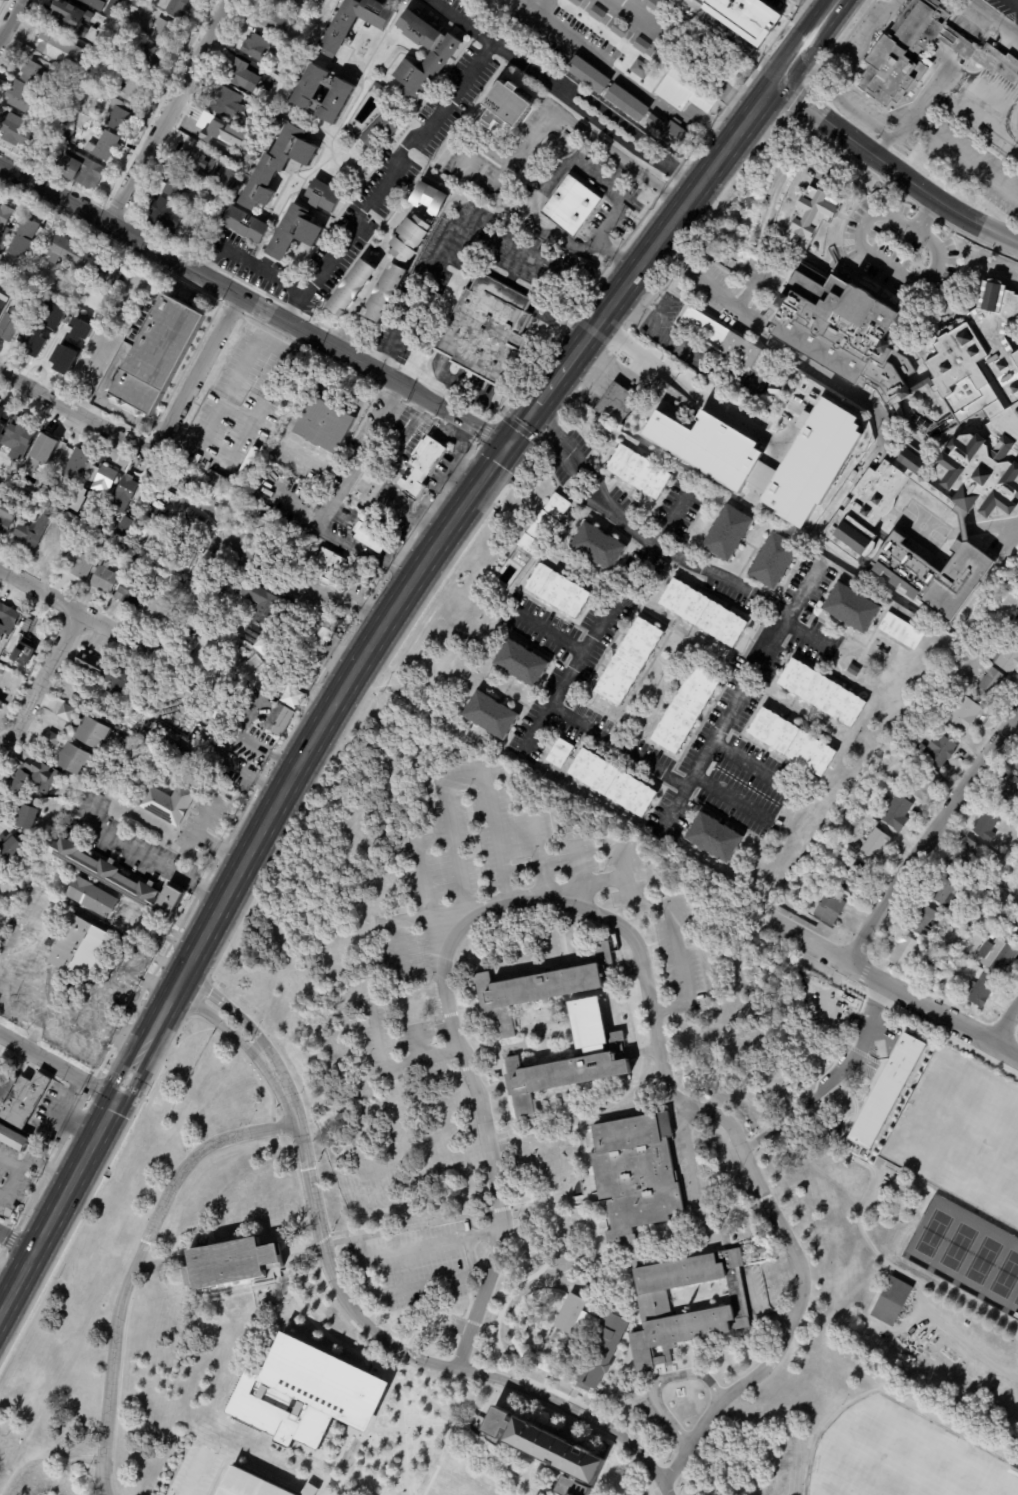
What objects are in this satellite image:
building: (0, 0)
road: (1016, 1)
building: (281, 2)
building: (575, 2)
building: (327, 3)
building: (92, 4)
building: (654, 5)
building: (133, 7)
building: (179, 8)
building: (300, 11)
building: (109, 14)
building: (597, 14)
road: (995, 15)
building: (745, 17)
road: (10, 18)
building: (77, 19)
building: (273, 20)
road: (459, 22)
building: (353, 23)
building: (619, 30)
building: (163, 33)
road: (0, 35)
road: (732, 36)
road: (859, 41)
building: (118, 45)
building: (641, 46)
building: (254, 47)
building: (57, 48)
road: (688, 50)
building: (285, 52)
building: (901, 53)
building: (441, 56)
building: (148, 59)
building: (662, 62)
building: (638, 69)
road: (813, 71)
building: (37, 75)
building: (237, 75)
building: (586, 75)
road: (624, 80)
building: (684, 87)
building: (130, 89)
road: (927, 90)
building: (337, 96)
building: (262, 98)
building: (21, 99)
building: (67, 100)
building: (224, 103)
building: (625, 104)
building: (507, 106)
road: (171, 112)
road: (857, 113)
building: (117, 114)
road: (592, 118)
road: (994, 123)
building: (50, 127)
building: (16, 131)
building: (668, 132)
road: (889, 132)
building: (211, 133)
building: (377, 133)
building: (63, 134)
building: (53, 142)
road: (526, 142)
building: (102, 147)
road: (963, 154)
building: (189, 156)
road: (835, 156)
building: (277, 166)
road: (892, 168)
building: (79, 170)
road: (556, 177)
road: (385, 181)
building: (174, 188)
building: (321, 198)
building: (429, 198)
building: (571, 205)
building: (4, 215)
building: (165, 215)
building: (812, 215)
road: (926, 216)
building: (244, 226)
building: (197, 227)
building: (294, 233)
building: (4, 236)
building: (22, 238)
building: (409, 238)
road: (503, 250)
building: (65, 253)
road: (614, 255)
road: (246, 259)
road: (884, 262)
building: (105, 275)
building: (356, 276)
road: (580, 277)
road: (373, 284)
road: (748, 291)
building: (384, 293)
building: (34, 294)
building: (75, 300)
building: (2, 302)
road: (419, 303)
road: (253, 304)
building: (67, 313)
building: (52, 315)
road: (542, 315)
building: (11, 322)
building: (487, 330)
building: (86, 333)
building: (723, 339)
building: (34, 340)
building: (81, 344)
road: (785, 351)
building: (49, 352)
building: (152, 354)
building: (63, 359)
road: (239, 367)
road: (615, 371)
road: (196, 376)
building: (768, 388)
parking lot: (237, 399)
road: (706, 399)
road: (77, 413)
building: (324, 424)
building: (924, 424)
building: (11, 428)
road: (402, 440)
building: (858, 441)
traffic signals: (507, 445)
building: (42, 446)
building: (671, 447)
building: (250, 454)
building: (73, 465)
building: (419, 466)
building: (242, 470)
building: (171, 471)
building: (638, 471)
building: (218, 478)
building: (37, 479)
building: (102, 480)
building: (170, 481)
building: (231, 485)
building: (48, 487)
building: (203, 487)
building: (227, 491)
building: (163, 492)
building: (811, 492)
building: (215, 493)
building: (122, 494)
building: (22, 495)
road: (470, 495)
building: (220, 496)
building: (251, 496)
building: (33, 497)
building: (77, 500)
building: (31, 503)
road: (411, 506)
road: (294, 508)
building: (134, 511)
building: (108, 516)
building: (5, 518)
building: (192, 518)
road: (669, 519)
building: (248, 520)
building: (273, 521)
building: (543, 523)
building: (97, 525)
building: (123, 527)
building: (29, 533)
building: (370, 535)
building: (727, 535)
road: (1015, 535)
road: (336, 537)
building: (99, 544)
building: (598, 546)
building: (49, 547)
building: (175, 555)
building: (773, 562)
building: (78, 563)
building: (327, 567)
building: (103, 579)
building: (557, 591)
building: (128, 594)
road: (798, 595)
road: (62, 600)
road: (758, 602)
building: (214, 603)
building: (263, 604)
building: (153, 607)
building: (852, 608)
building: (703, 613)
building: (5, 619)
building: (182, 620)
building: (1015, 621)
building: (23, 625)
road: (803, 629)
road: (551, 630)
building: (901, 631)
building: (317, 637)
railway: (387, 642)
building: (267, 644)
building: (670, 651)
building: (21, 652)
building: (206, 654)
building: (1006, 657)
building: (629, 661)
building: (521, 662)
building: (88, 663)
building: (1, 671)
road: (42, 677)
building: (117, 680)
building: (993, 688)
road: (562, 691)
building: (822, 693)
building: (145, 694)
building: (291, 697)
building: (1, 699)
building: (685, 709)
building: (64, 712)
building: (490, 715)
building: (963, 715)
building: (276, 720)
building: (118, 721)
road: (539, 727)
building: (89, 733)
building: (141, 735)
building: (49, 740)
building: (793, 742)
road: (227, 745)
building: (921, 747)
building: (940, 750)
building: (559, 753)
building: (71, 758)
road: (743, 758)
building: (909, 759)
building: (1016, 767)
building: (868, 772)
building: (33, 776)
road: (459, 780)
building: (923, 782)
building: (612, 783)
building: (904, 791)
building: (1010, 793)
road: (675, 803)
building: (167, 804)
building: (843, 810)
building: (896, 813)
building: (848, 816)
building: (23, 818)
building: (836, 823)
building: (986, 825)
road: (928, 835)
building: (714, 838)
building: (874, 844)
building: (7, 848)
road: (149, 857)
building: (966, 857)
road: (540, 859)
road: (576, 863)
building: (855, 877)
building: (117, 878)
road: (604, 880)
building: (983, 886)
road: (625, 887)
building: (947, 890)
road: (425, 893)
building: (91, 896)
building: (979, 900)
building: (828, 908)
building: (921, 919)
building: (1009, 928)
road: (395, 933)
road: (630, 939)
building: (787, 944)
building: (80, 947)
building: (905, 951)
building: (947, 951)
building: (997, 956)
building: (956, 967)
road: (681, 972)
building: (949, 973)
road: (897, 990)
building: (983, 990)
building: (533, 992)
building: (830, 1001)
road: (236, 1014)
road: (1006, 1021)
road: (225, 1027)
road: (244, 1052)
road: (378, 1055)
road: (425, 1055)
road: (136, 1060)
road: (58, 1064)
building: (0, 1065)
building: (566, 1072)
road: (834, 1083)
building: (890, 1090)
building: (21, 1098)
road: (275, 1126)
road: (512, 1126)
road: (551, 1132)
park: (961, 1136)
building: (13, 1137)
road: (7, 1160)
road: (44, 1166)
building: (635, 1173)
road: (11, 1181)
road: (540, 1200)
road: (57, 1204)
road: (501, 1207)
road: (411, 1225)
road: (341, 1230)
road: (321, 1238)
road: (16, 1242)
park: (966, 1254)
building: (230, 1262)
road: (133, 1265)
parking lot: (411, 1265)
road: (365, 1272)
building: (686, 1304)
building: (893, 1304)
road: (500, 1312)
road: (427, 1314)
building: (574, 1317)
road: (473, 1321)
road: (484, 1325)
road: (324, 1330)
road: (399, 1348)
road: (402, 1349)
building: (598, 1350)
road: (396, 1362)
road: (415, 1366)
road: (660, 1382)
building: (305, 1394)
road: (572, 1409)
road: (408, 1426)
road: (471, 1435)
road: (547, 1446)
building: (545, 1450)
road: (47, 1454)
road: (439, 1458)
park: (899, 1458)
road: (378, 1462)
parking lot: (195, 1471)
road: (194, 1473)
road: (326, 1480)
building: (247, 1484)
building: (448, 1489)

